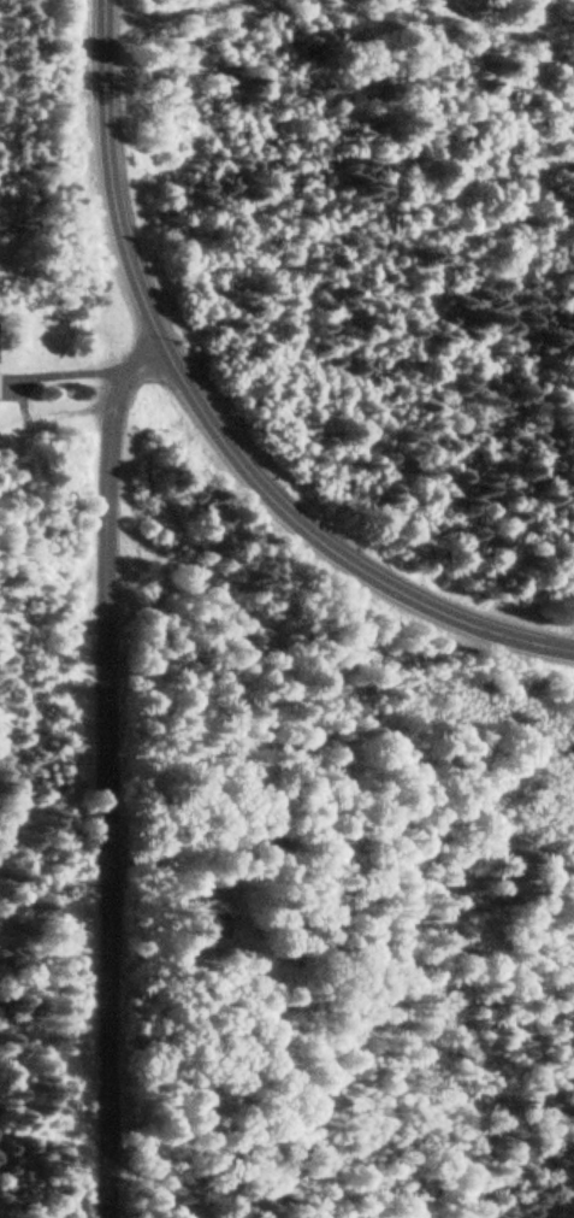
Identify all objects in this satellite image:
road: (209, 422)
road: (103, 776)

